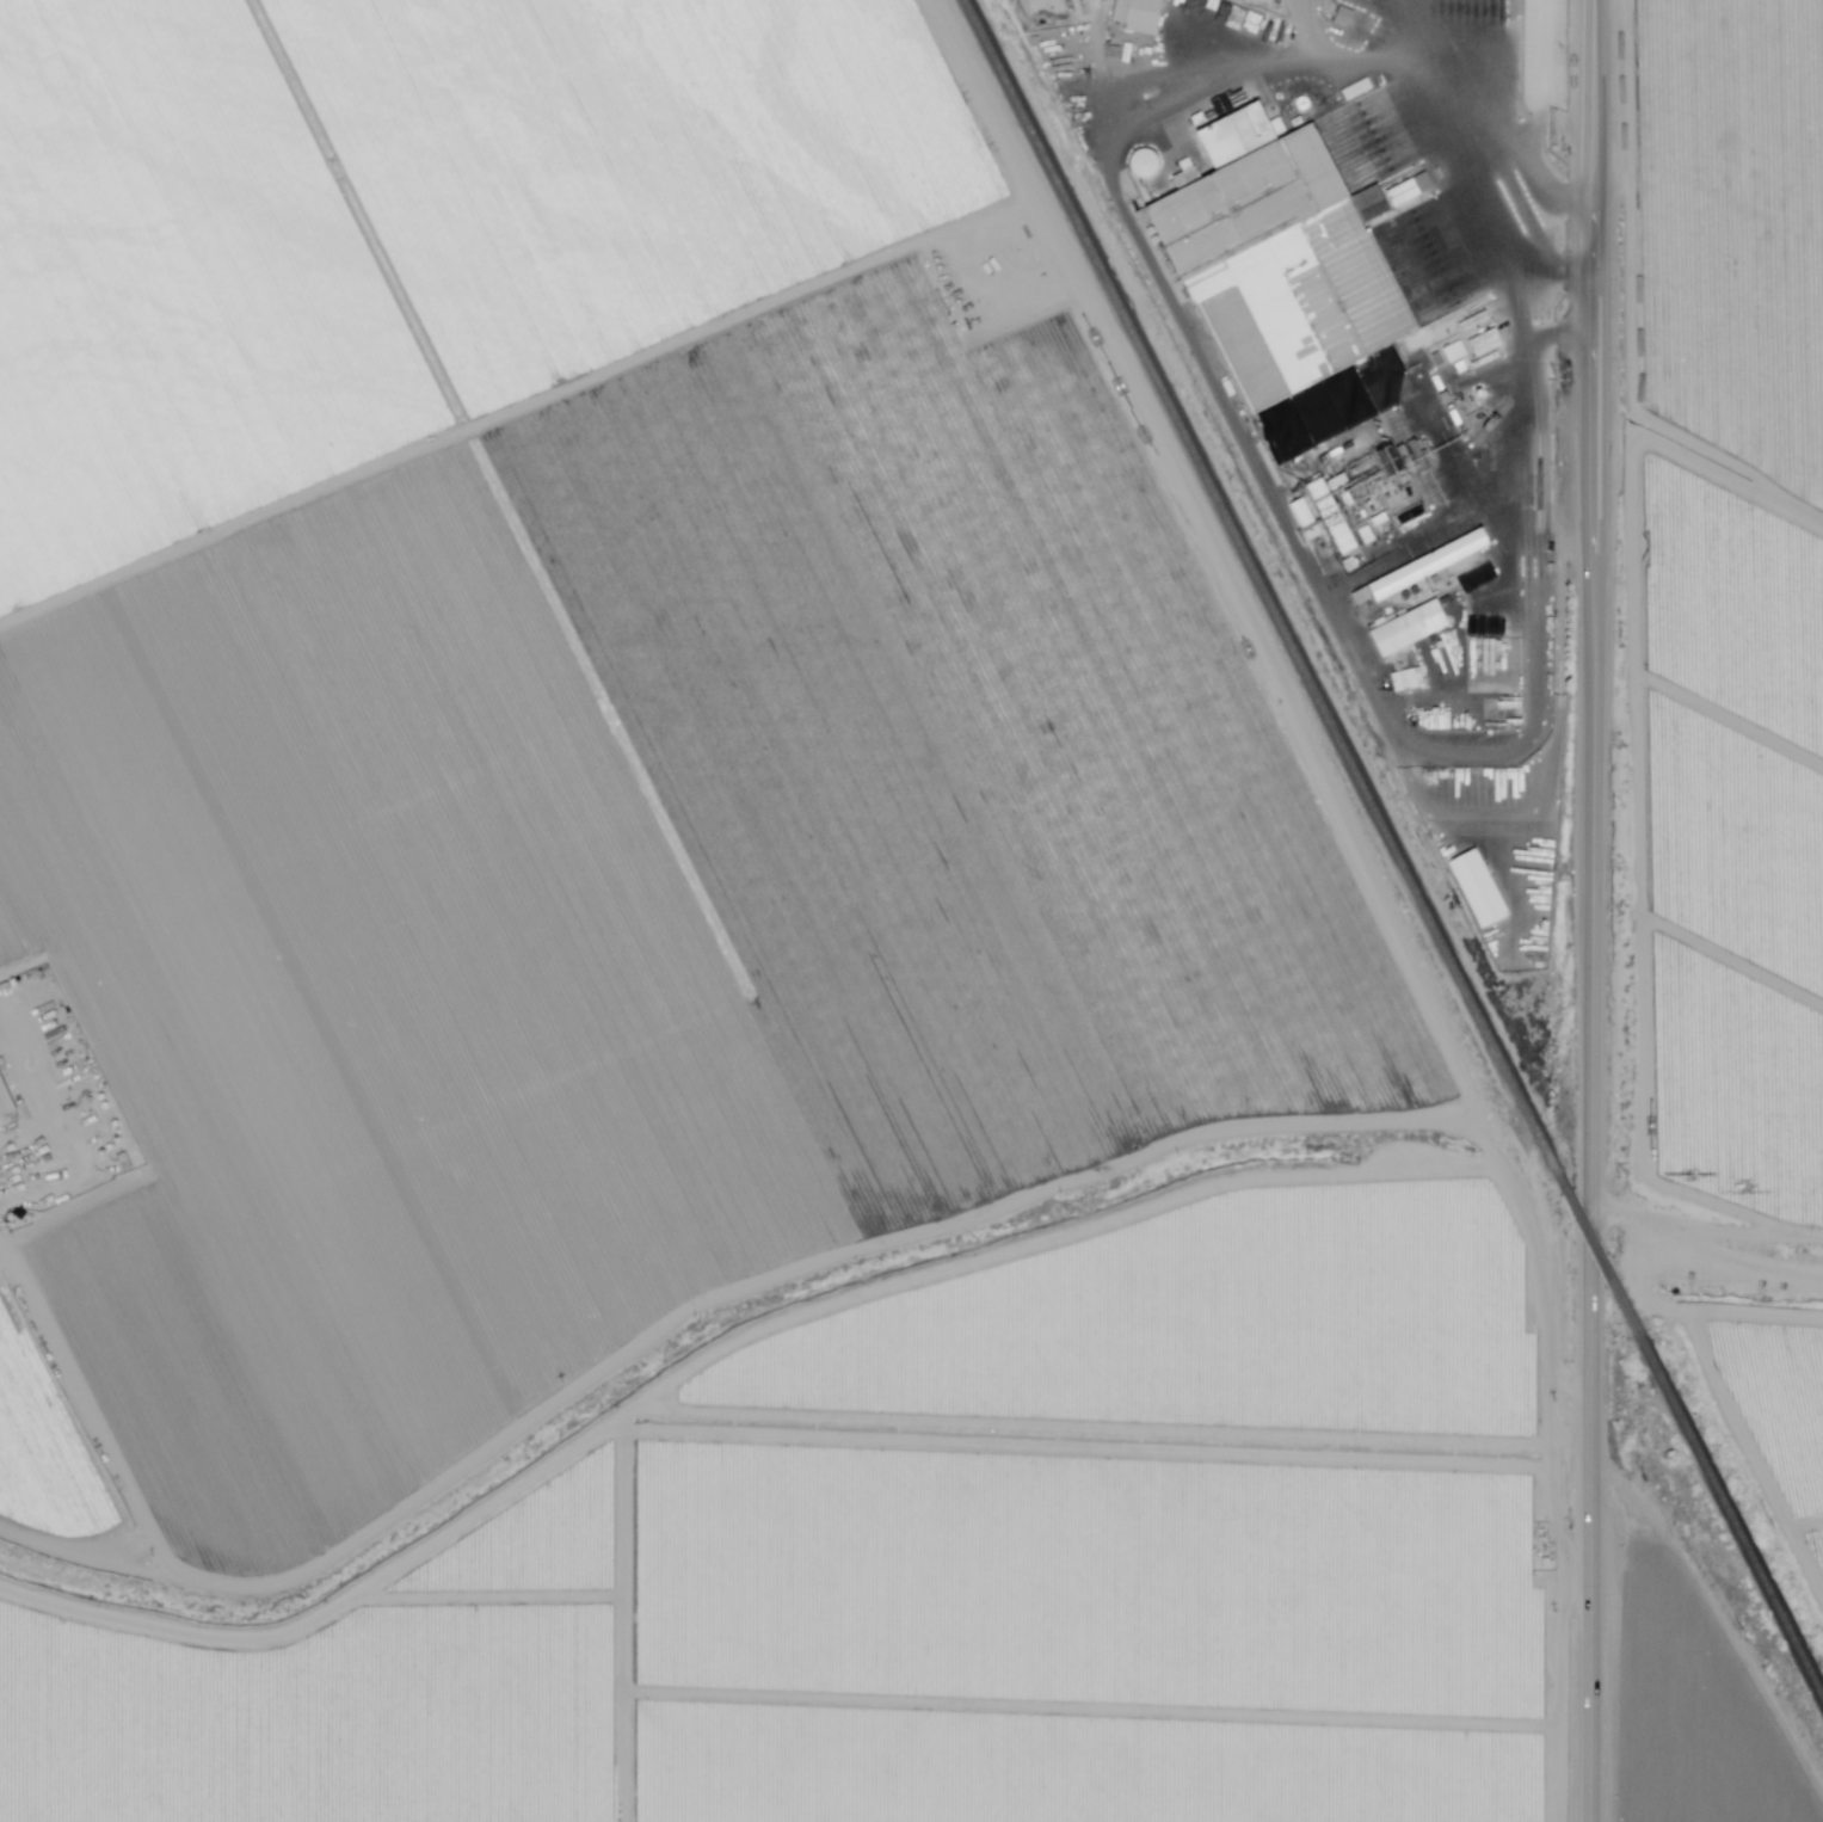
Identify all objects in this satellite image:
crop: (5, 1)
building: (1139, 14)
parking lot: (1443, 32)
road: (1476, 51)
parking lot: (1547, 54)
crop: (445, 55)
crop: (1736, 104)
road: (1538, 127)
crop: (134, 129)
crop: (679, 189)
building: (1280, 261)
crop: (201, 384)
crop: (1730, 389)
crop: (821, 454)
building: (1339, 535)
railway: (1258, 583)
building: (1359, 591)
building: (1396, 634)
crop: (270, 691)
crop: (966, 744)
crop: (1732, 752)
road: (1590, 911)
crop: (383, 991)
crop: (1733, 1072)
building: (4, 1100)
crop: (729, 1178)
railway: (1597, 1254)
crop: (1780, 1409)
crop: (43, 1451)
railway: (1732, 1520)
crop: (947, 1568)
crop: (1692, 1712)

